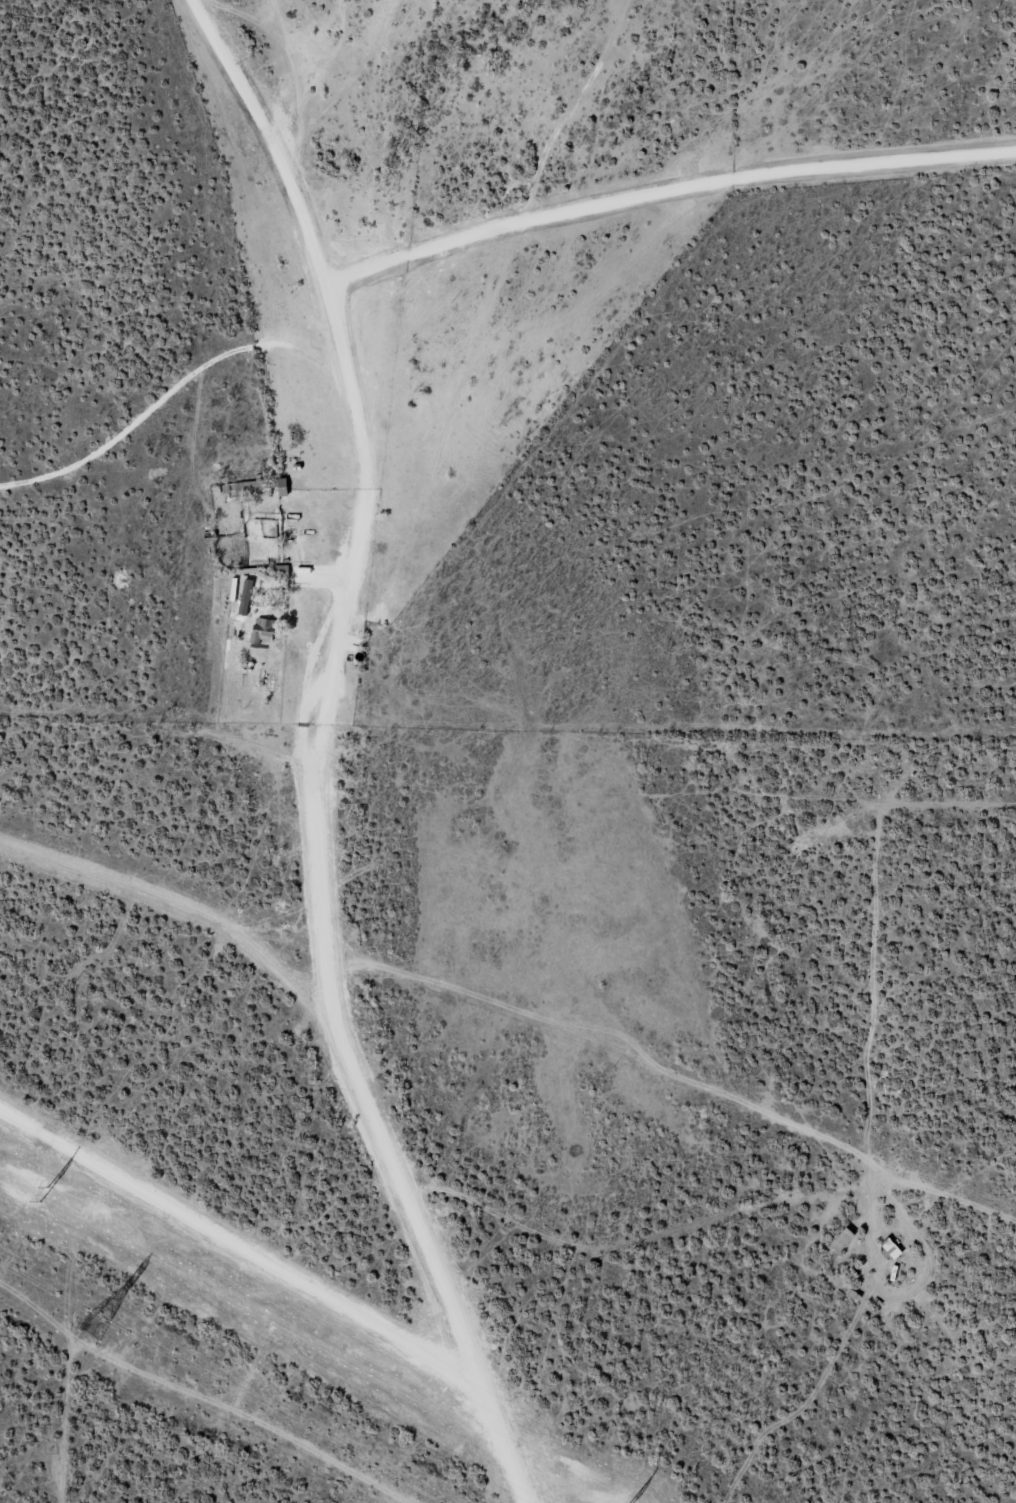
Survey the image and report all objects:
road: (239, 224)
road: (342, 386)
building: (266, 629)
road: (309, 773)
road: (359, 1083)
power tower: (91, 1325)

